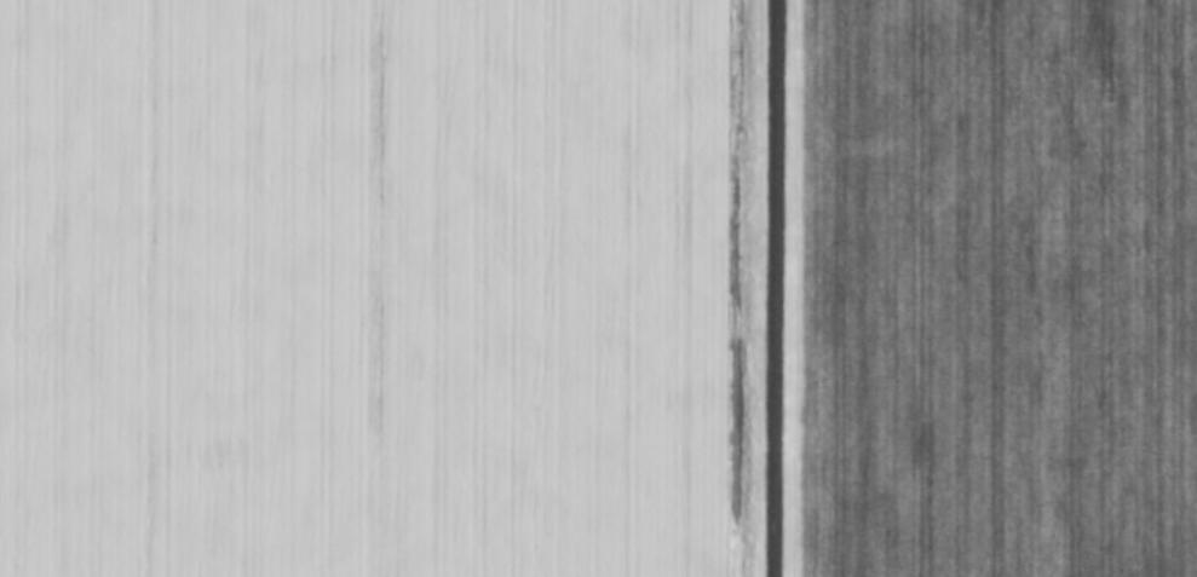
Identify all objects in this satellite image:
road: (779, 288)

